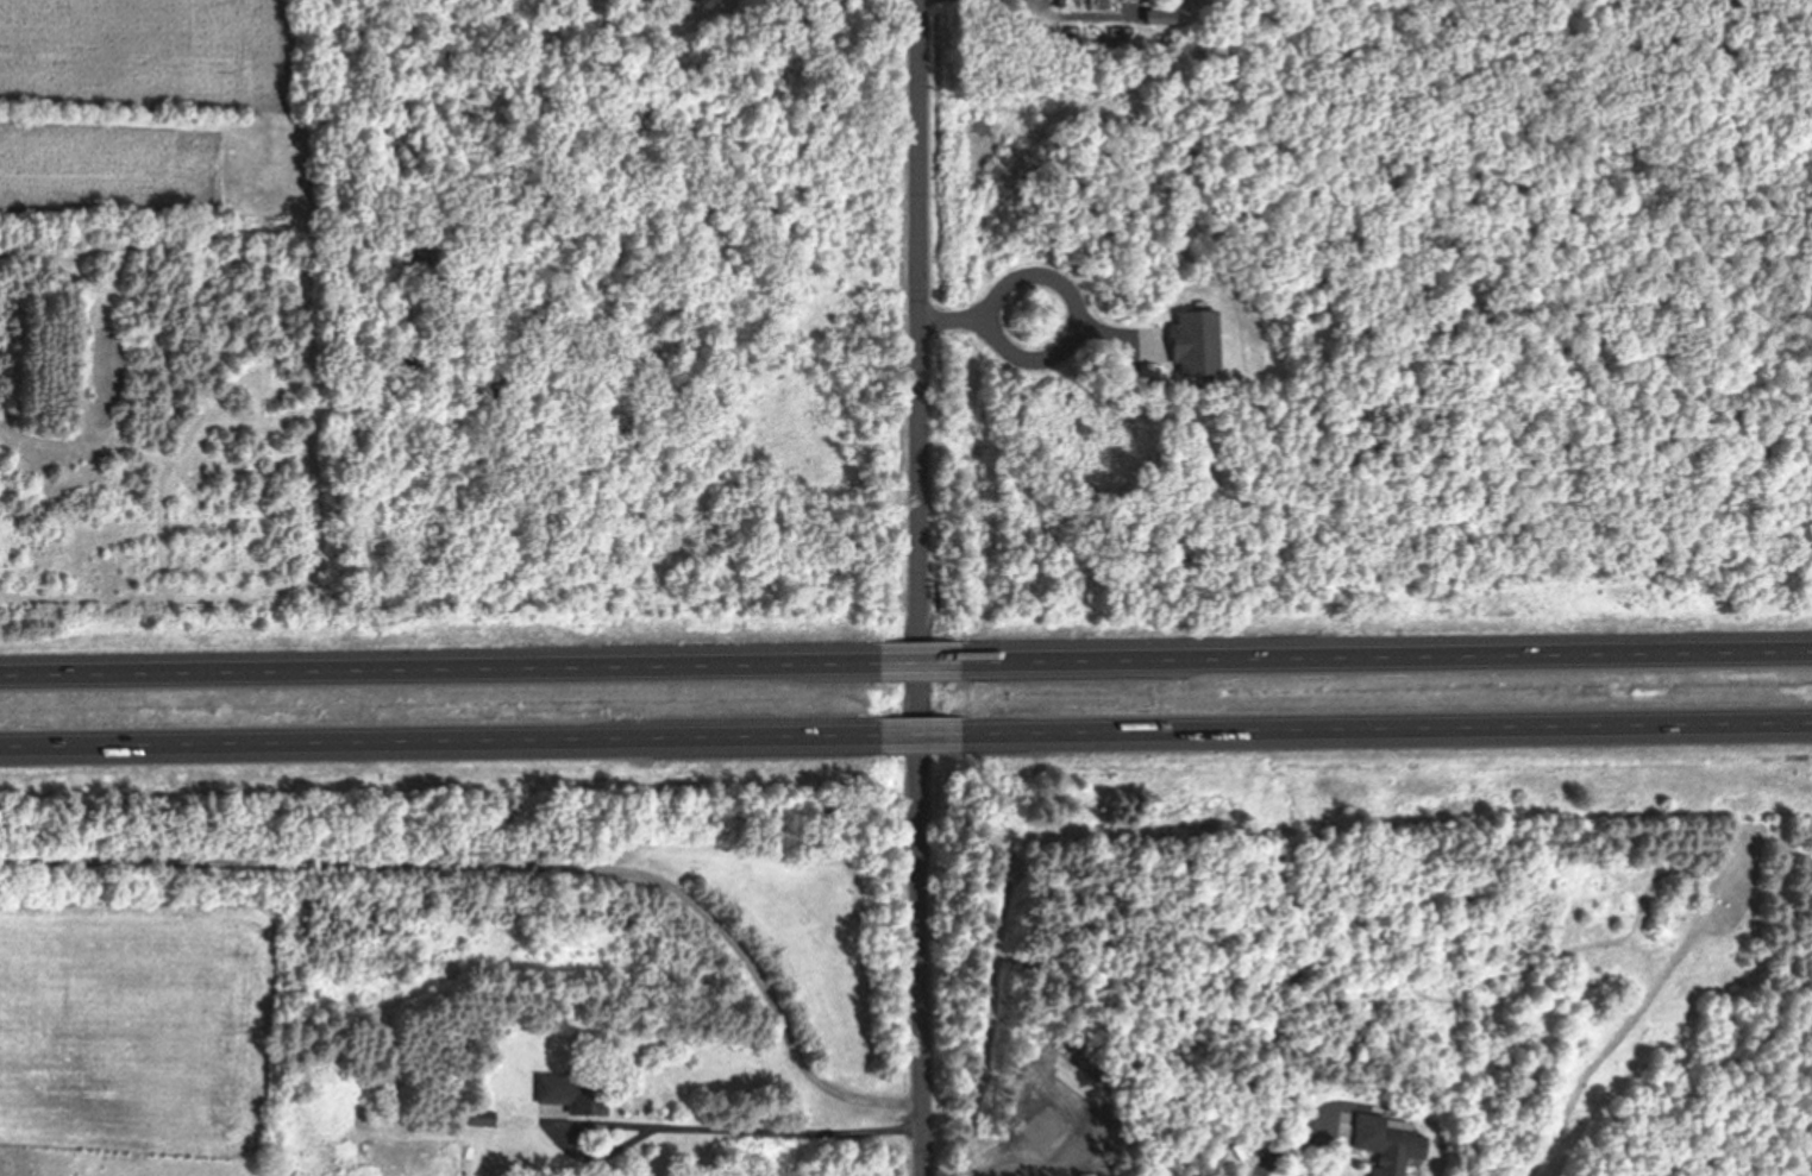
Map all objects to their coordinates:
building: (702, 5)
crop: (162, 115)
road: (958, 313)
road: (1078, 323)
building: (1191, 345)
road: (921, 587)
road: (1385, 654)
road: (915, 660)
road: (435, 666)
road: (1387, 730)
road: (921, 737)
road: (439, 743)
building: (570, 1093)
building: (1381, 1142)

